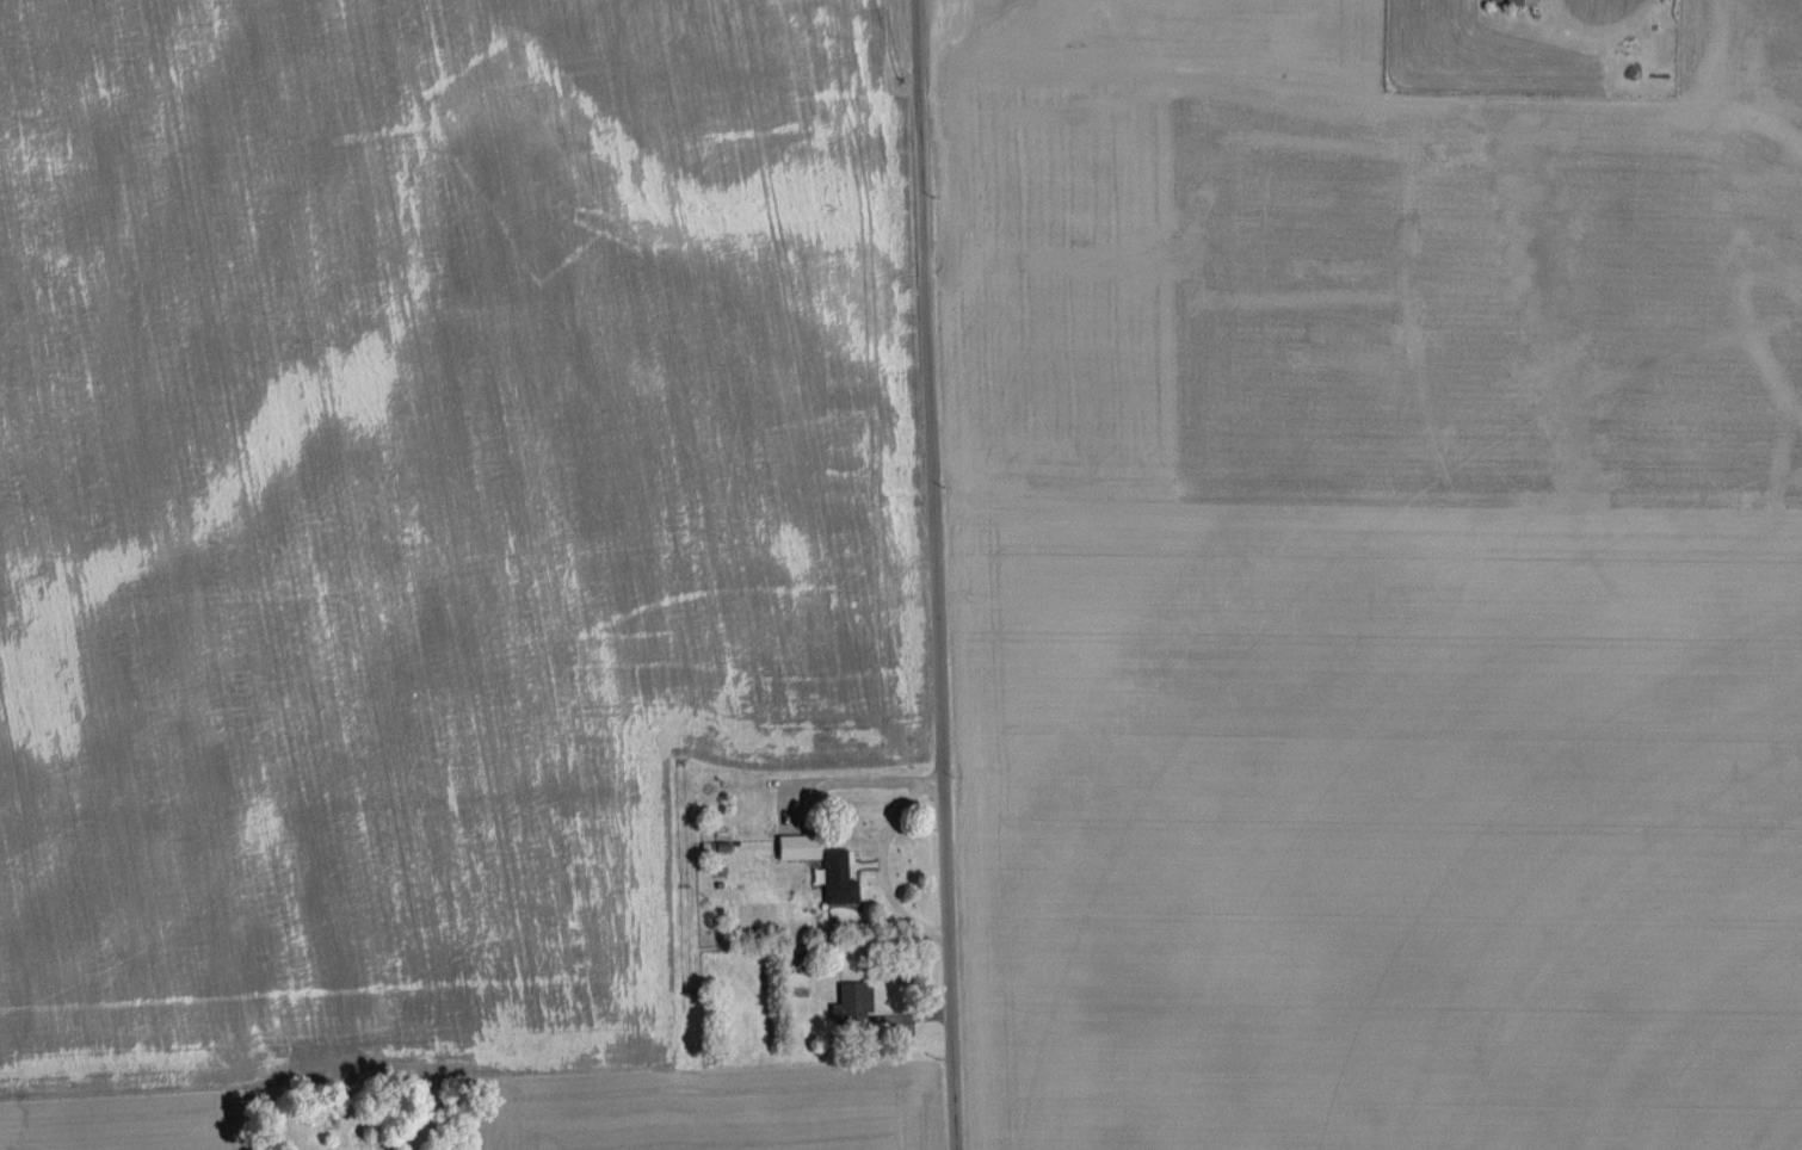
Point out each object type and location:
building: (1511, 2)
road: (936, 575)
road: (871, 779)
building: (794, 849)
building: (829, 870)
road: (881, 871)
building: (851, 1002)

